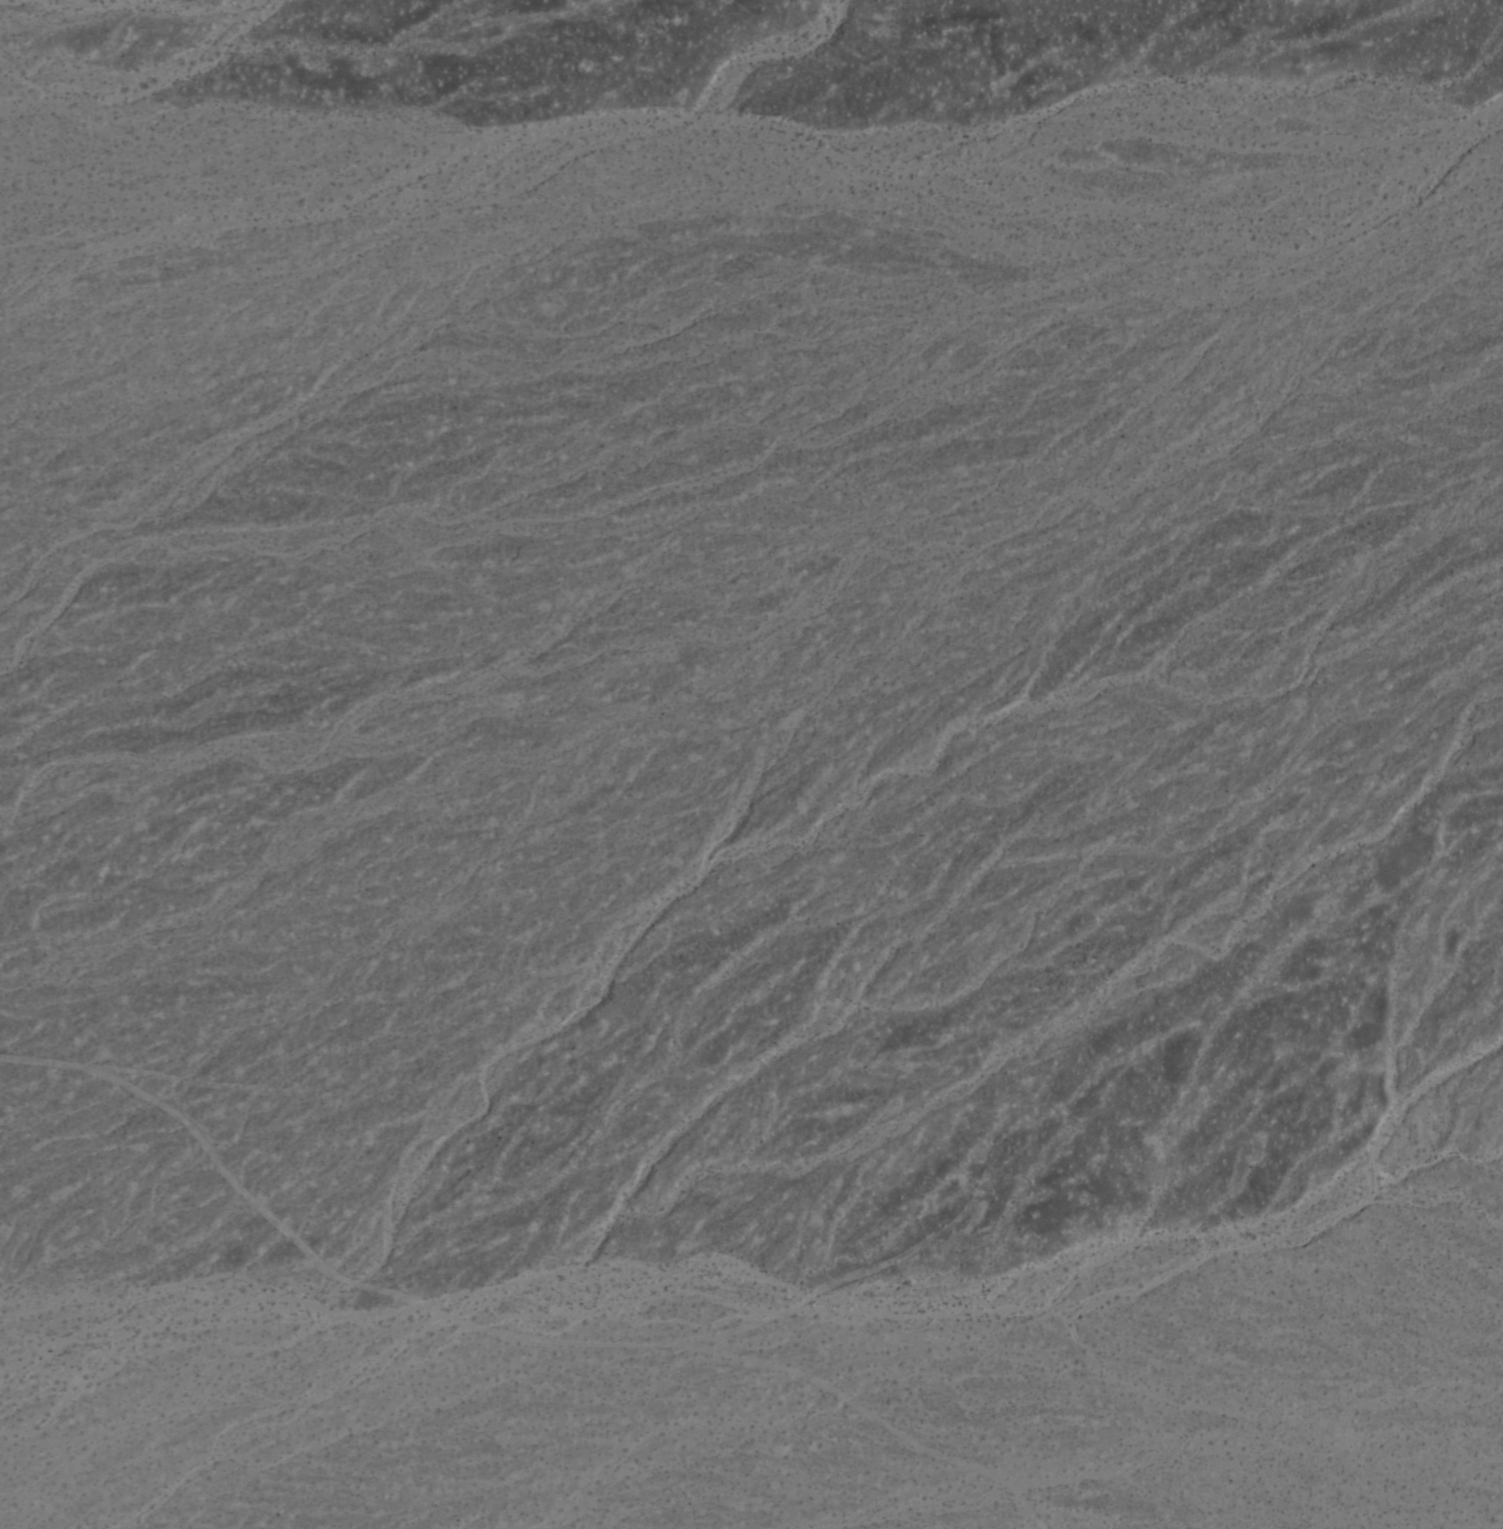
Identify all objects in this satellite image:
road: (864, 1272)
road: (504, 1333)

